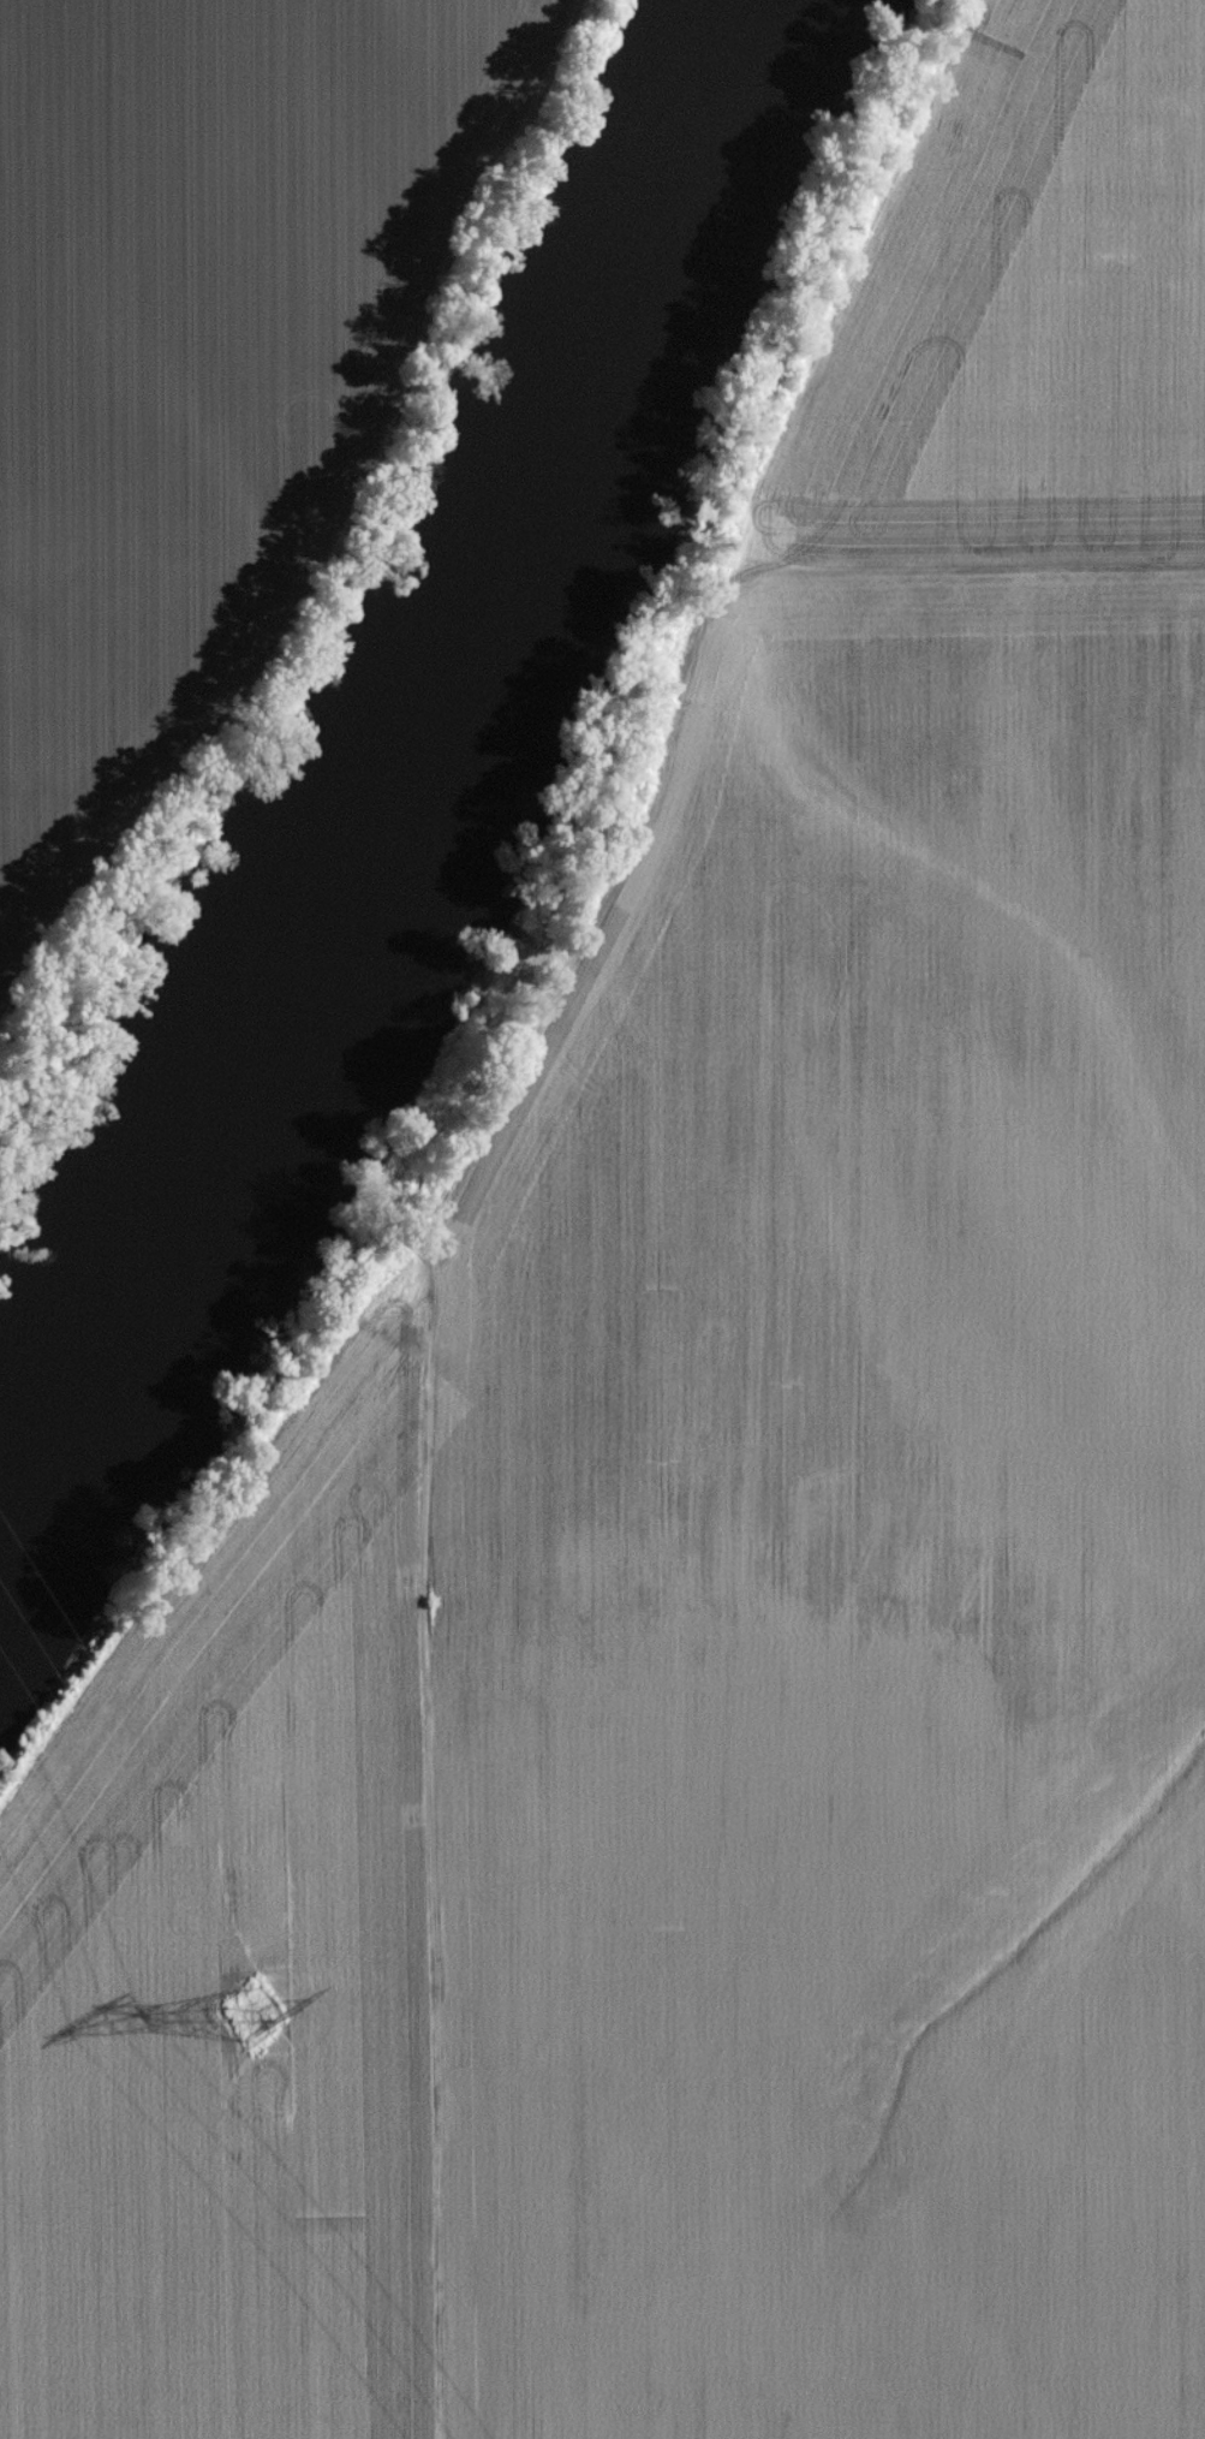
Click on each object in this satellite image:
road: (978, 570)
road: (704, 640)
river: (390, 769)
road: (430, 1863)
power tower: (261, 2027)

